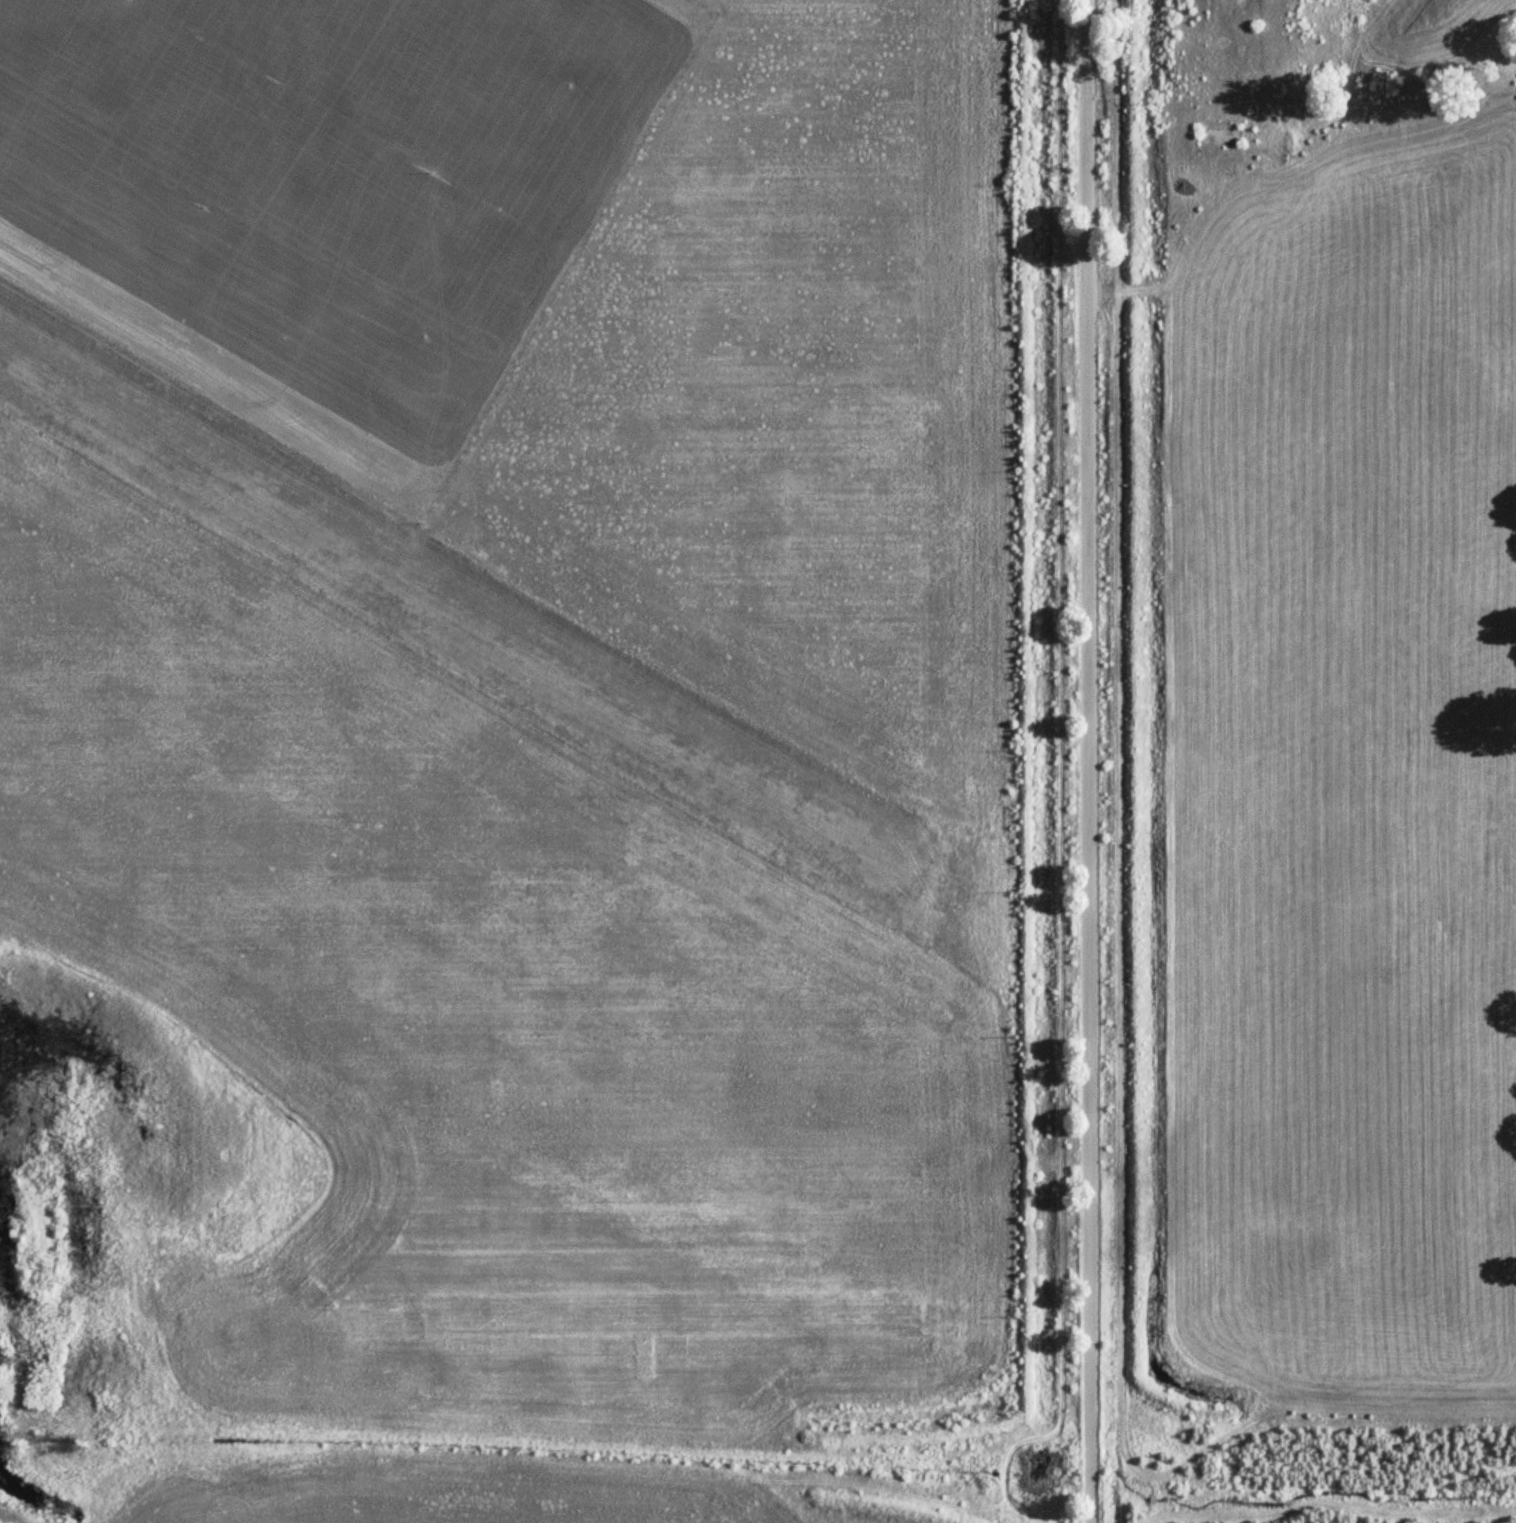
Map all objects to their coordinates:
airport runway: (454, 606)
road: (1092, 761)
airport: (521, 763)
road: (1014, 1421)
road: (498, 1470)
road: (226, 1490)

